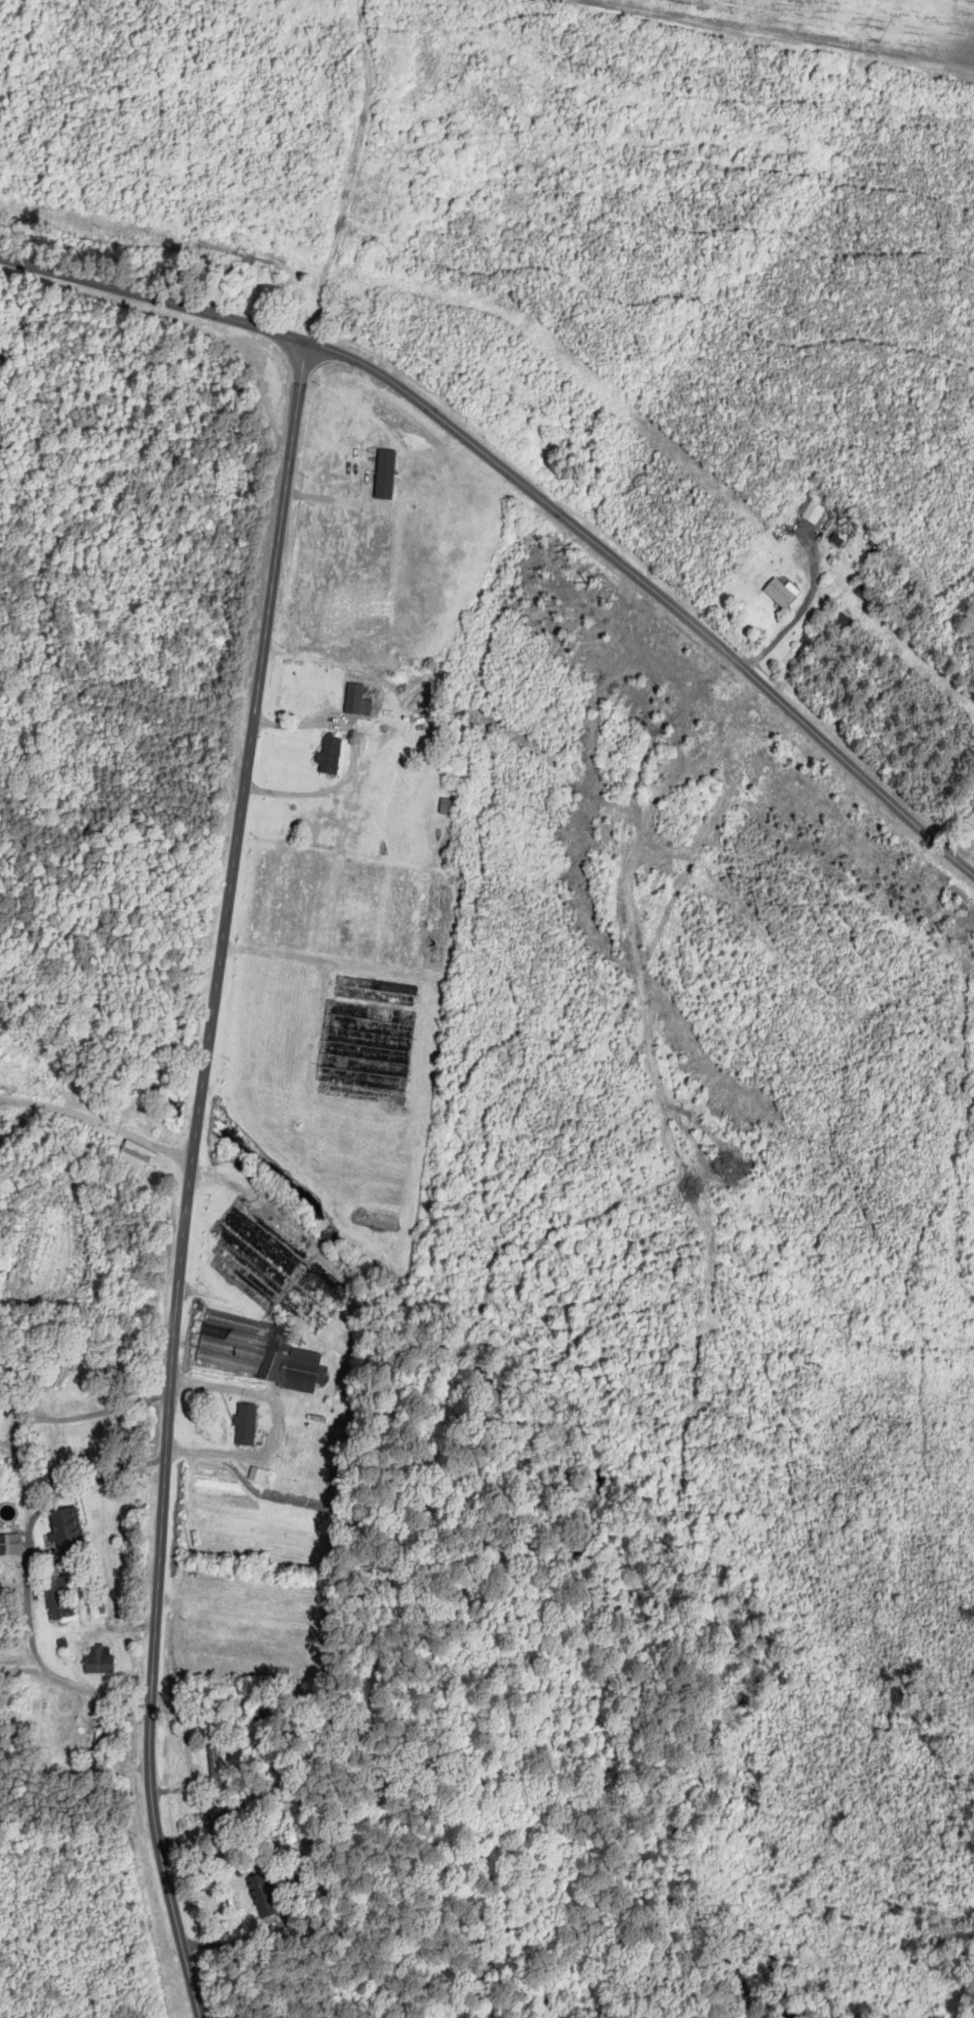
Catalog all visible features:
road: (154, 310)
building: (810, 509)
road: (654, 591)
building: (782, 591)
road: (794, 619)
building: (355, 698)
building: (330, 754)
road: (353, 759)
road: (969, 859)
road: (1, 1098)
road: (1, 1099)
road: (98, 1121)
road: (188, 1180)
building: (257, 1349)
road: (102, 1412)
building: (246, 1423)
road: (276, 1424)
building: (258, 1473)
building: (66, 1529)
building: (10, 1543)
road: (27, 1592)
building: (59, 1597)
building: (100, 1660)
road: (76, 1684)
building: (263, 1895)

